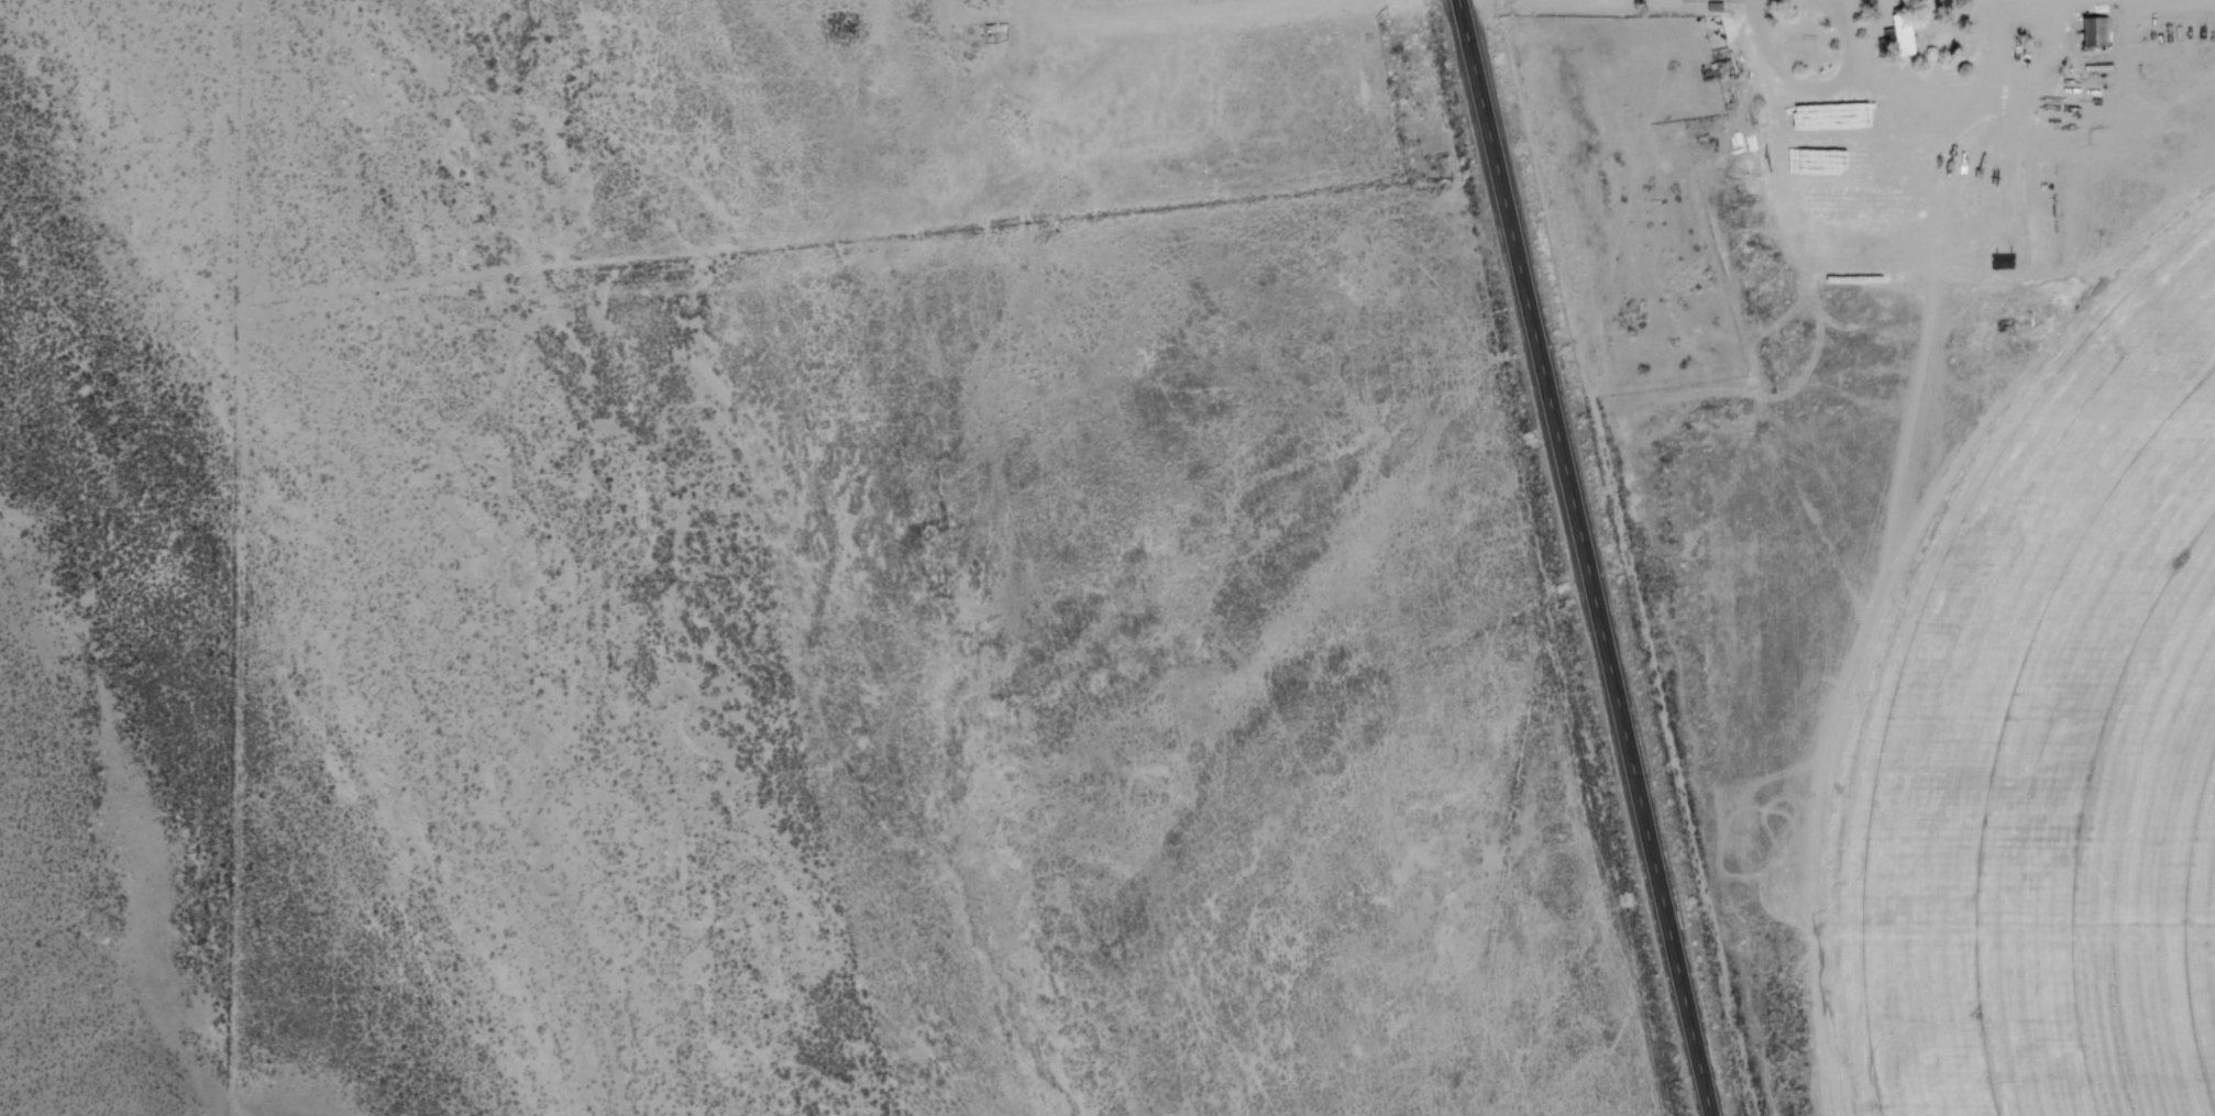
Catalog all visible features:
road: (2090, 3)
building: (1717, 10)
road: (1198, 14)
building: (2097, 36)
building: (1907, 40)
building: (1719, 75)
building: (2035, 197)
road: (1587, 557)
crop: (1980, 729)

